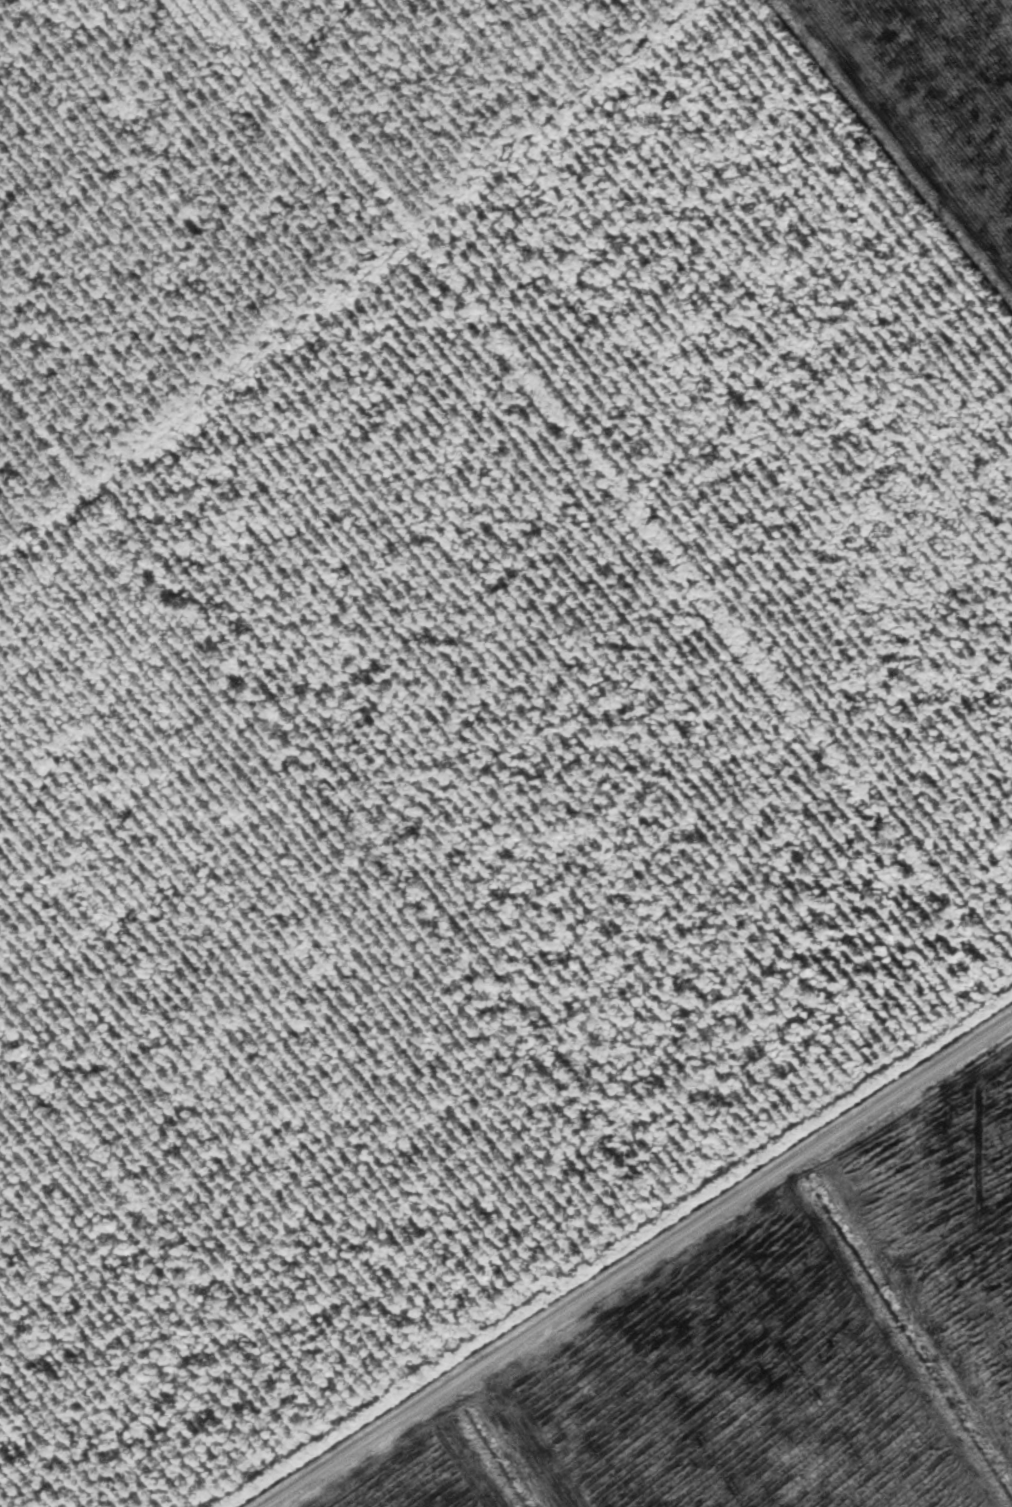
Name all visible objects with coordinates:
road: (640, 1262)

